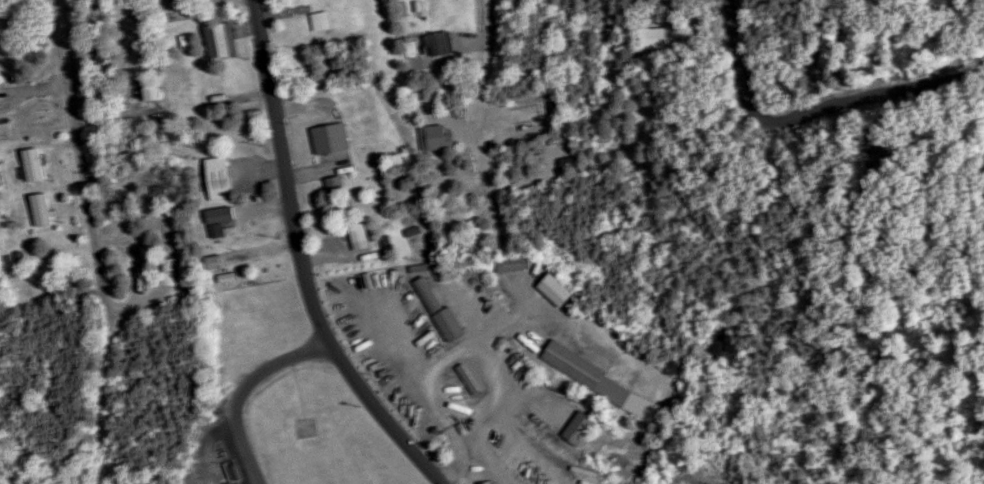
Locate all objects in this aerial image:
building: (323, 21)
building: (225, 40)
building: (432, 44)
road: (733, 62)
building: (156, 89)
road: (871, 92)
road: (488, 125)
building: (333, 138)
road: (75, 154)
building: (36, 165)
road: (284, 173)
building: (222, 178)
building: (338, 184)
building: (43, 210)
building: (223, 219)
building: (362, 237)
building: (217, 263)
building: (508, 264)
building: (423, 293)
building: (444, 325)
building: (569, 366)
road: (497, 382)
road: (238, 395)
road: (382, 416)
building: (574, 430)
road: (243, 453)

